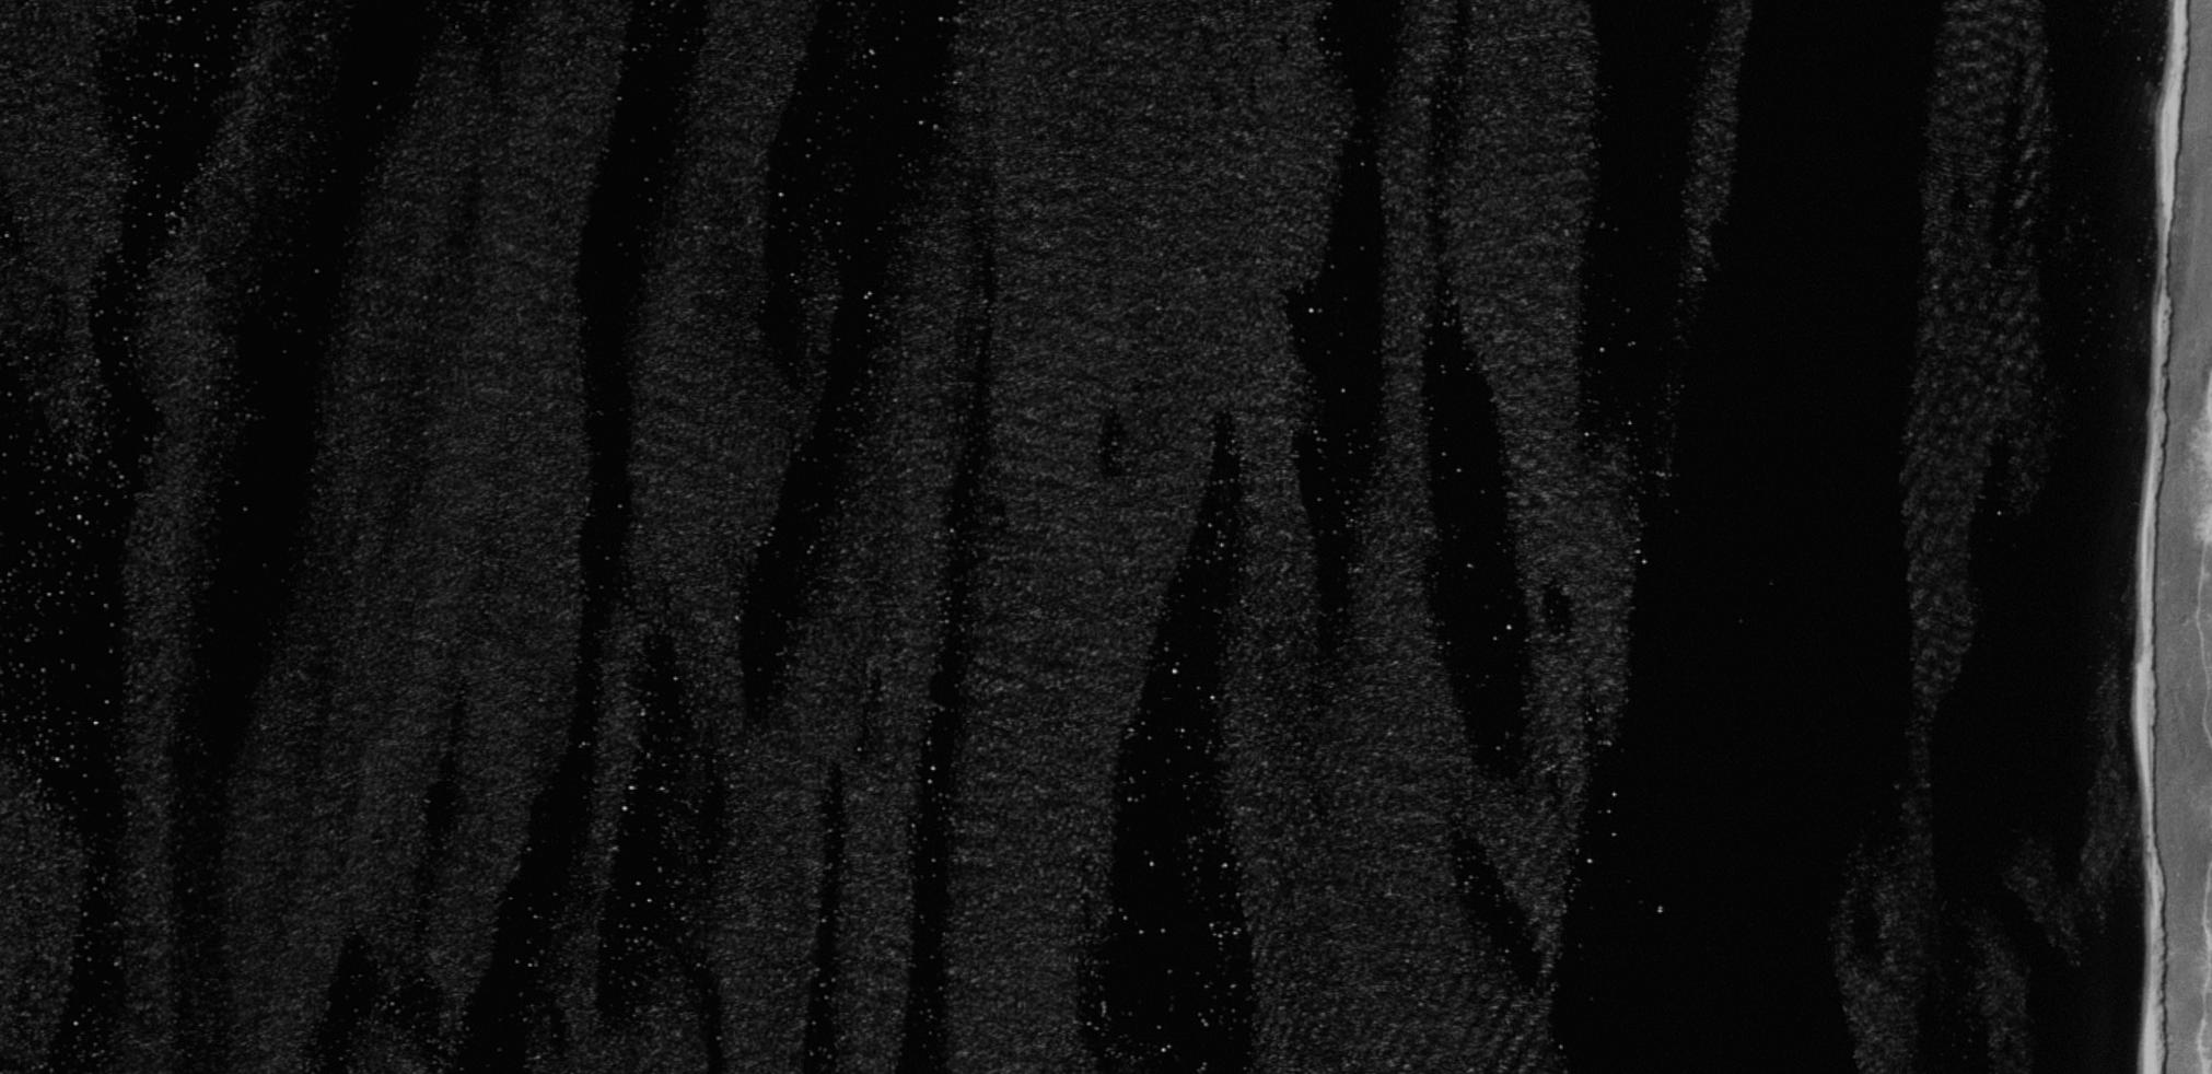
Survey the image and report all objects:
park: (2137, 539)

